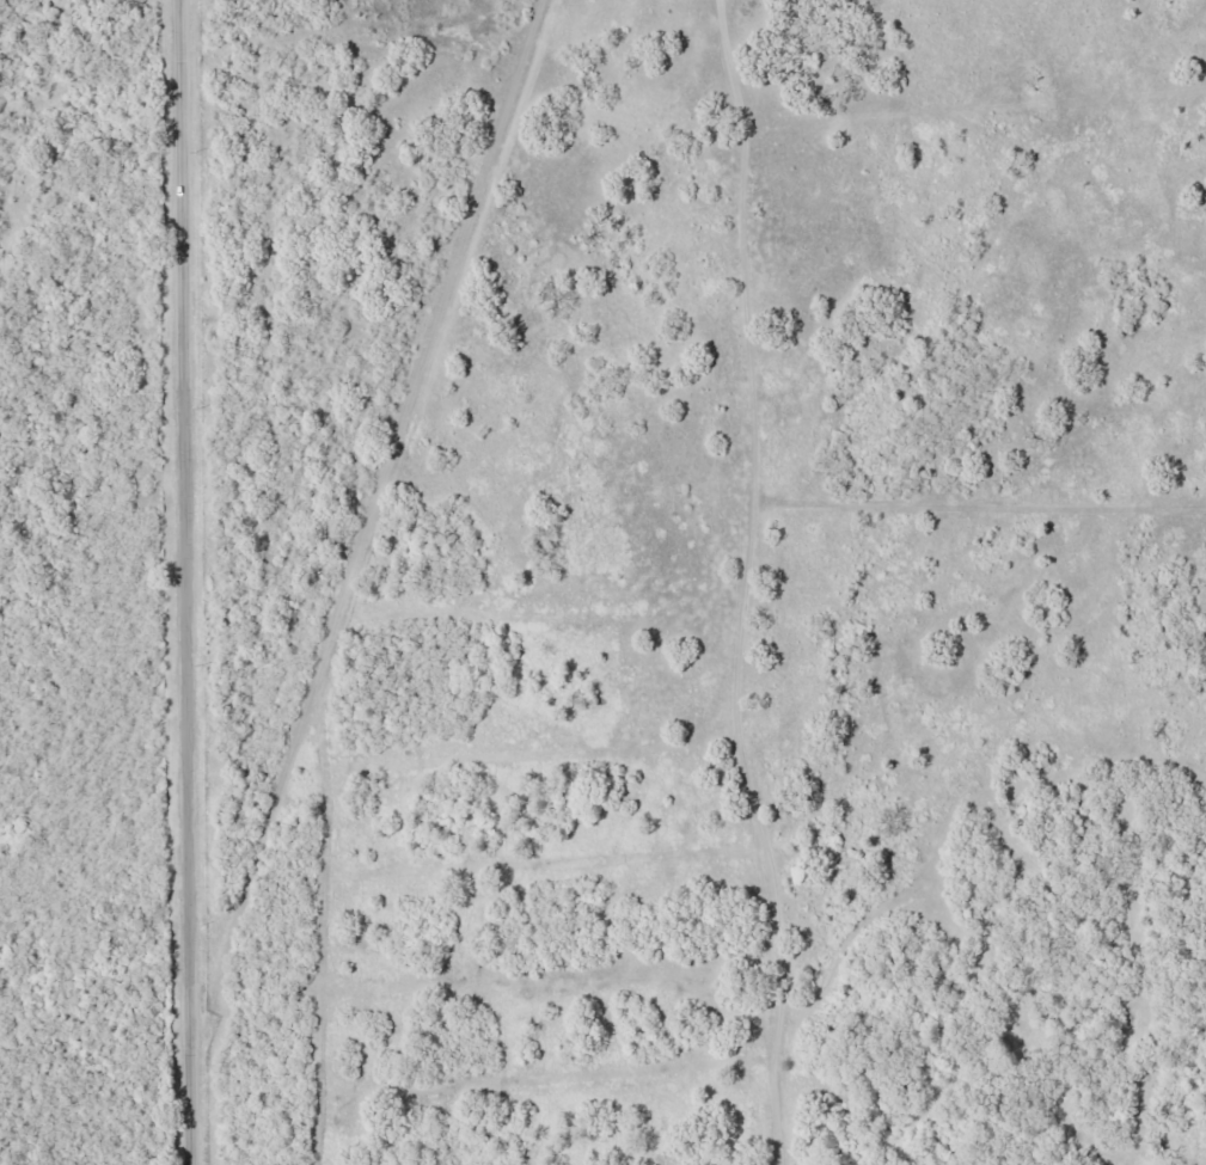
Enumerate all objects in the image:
road: (191, 582)

